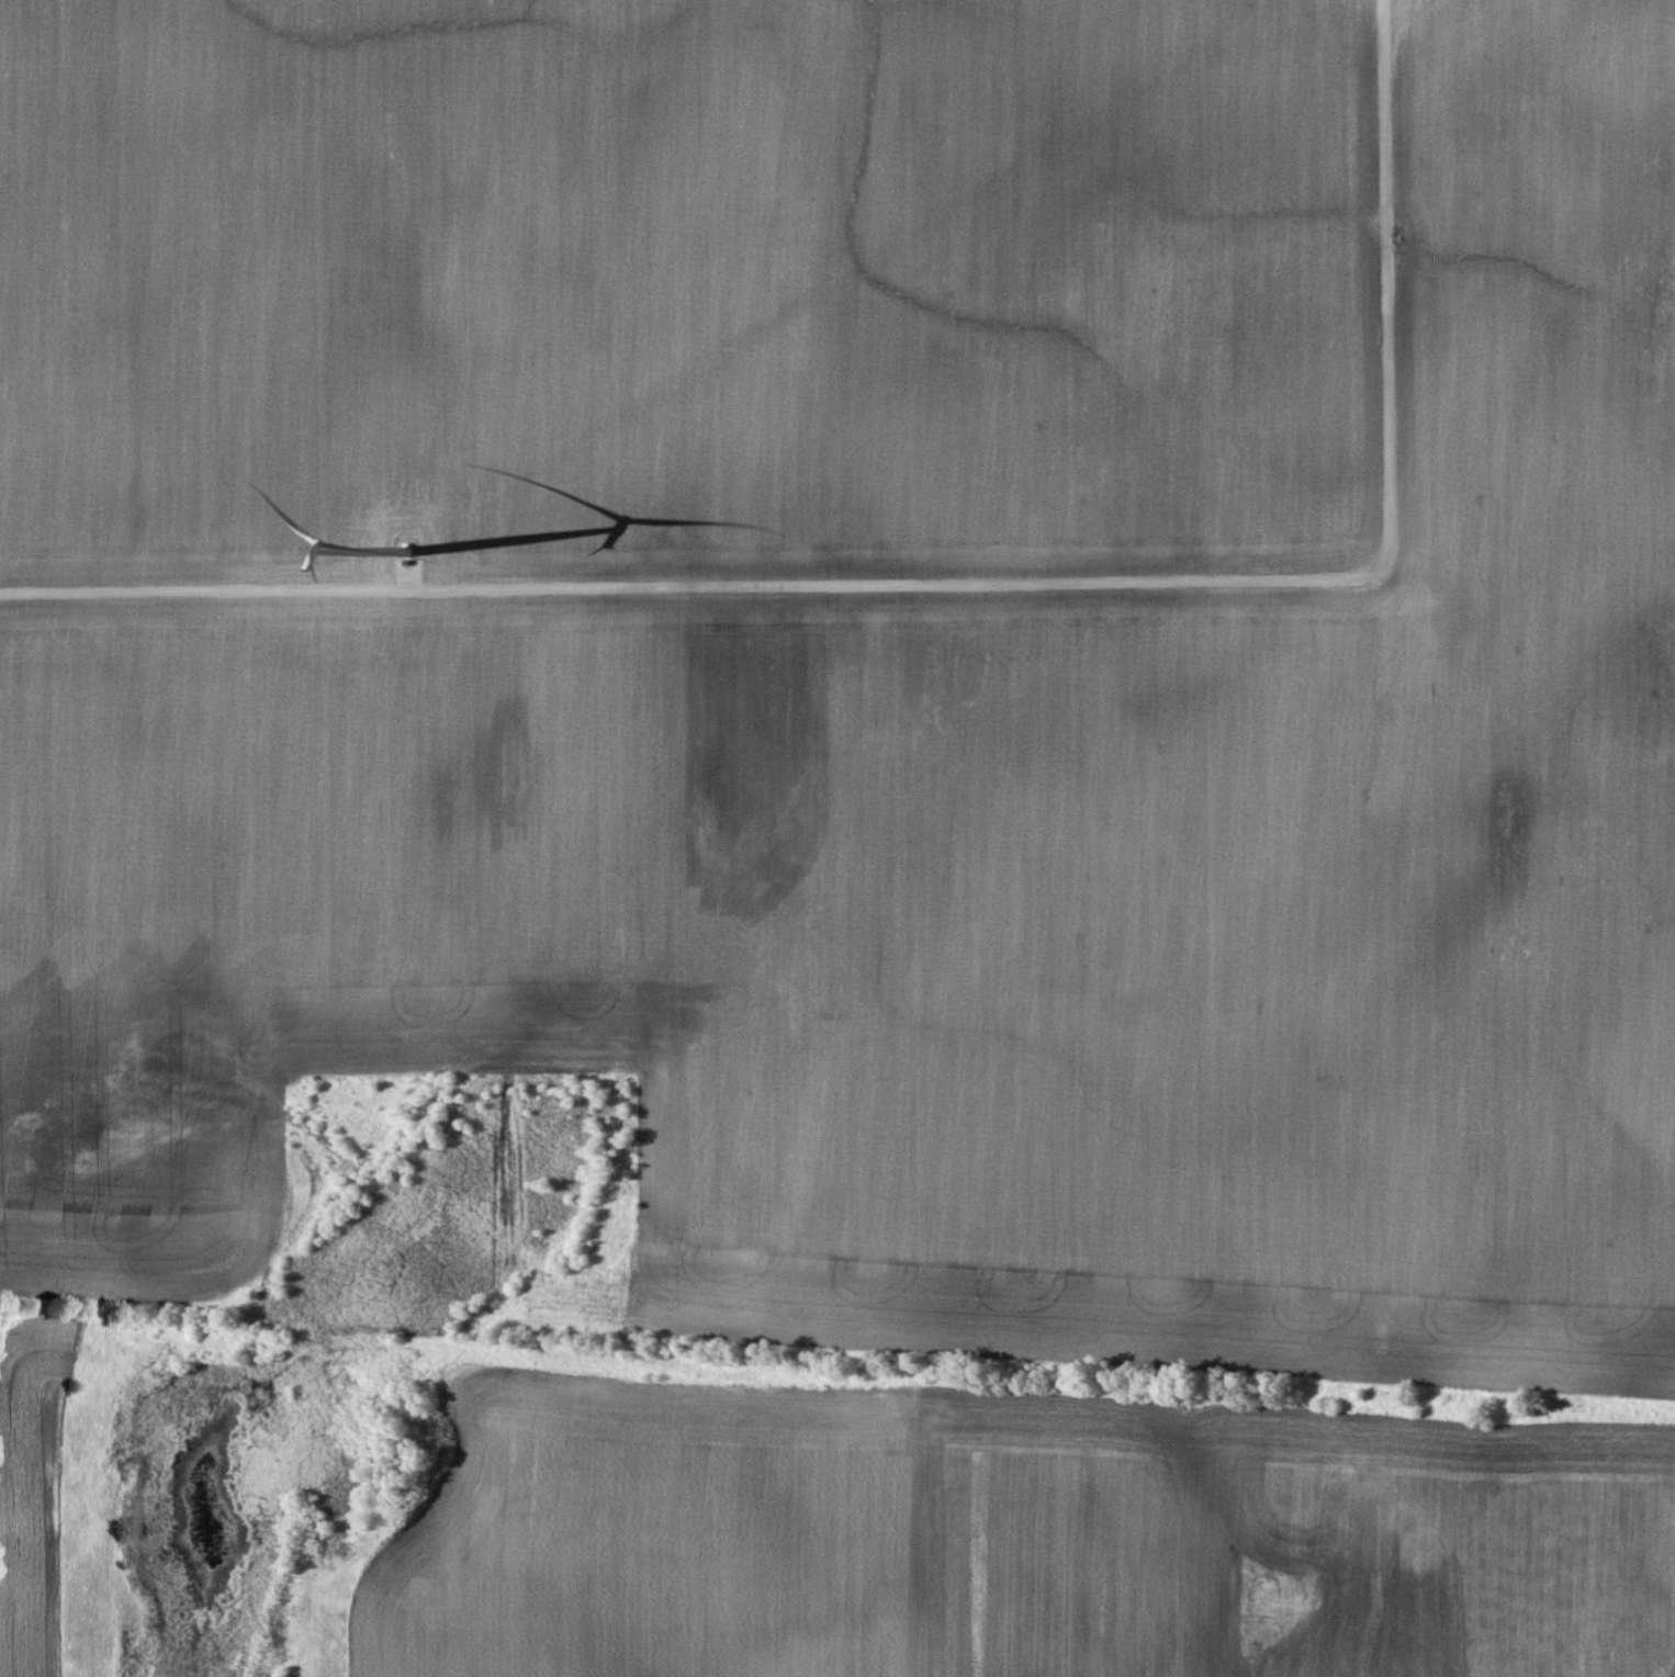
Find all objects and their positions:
wind turbine: (392, 550)
road: (976, 583)

